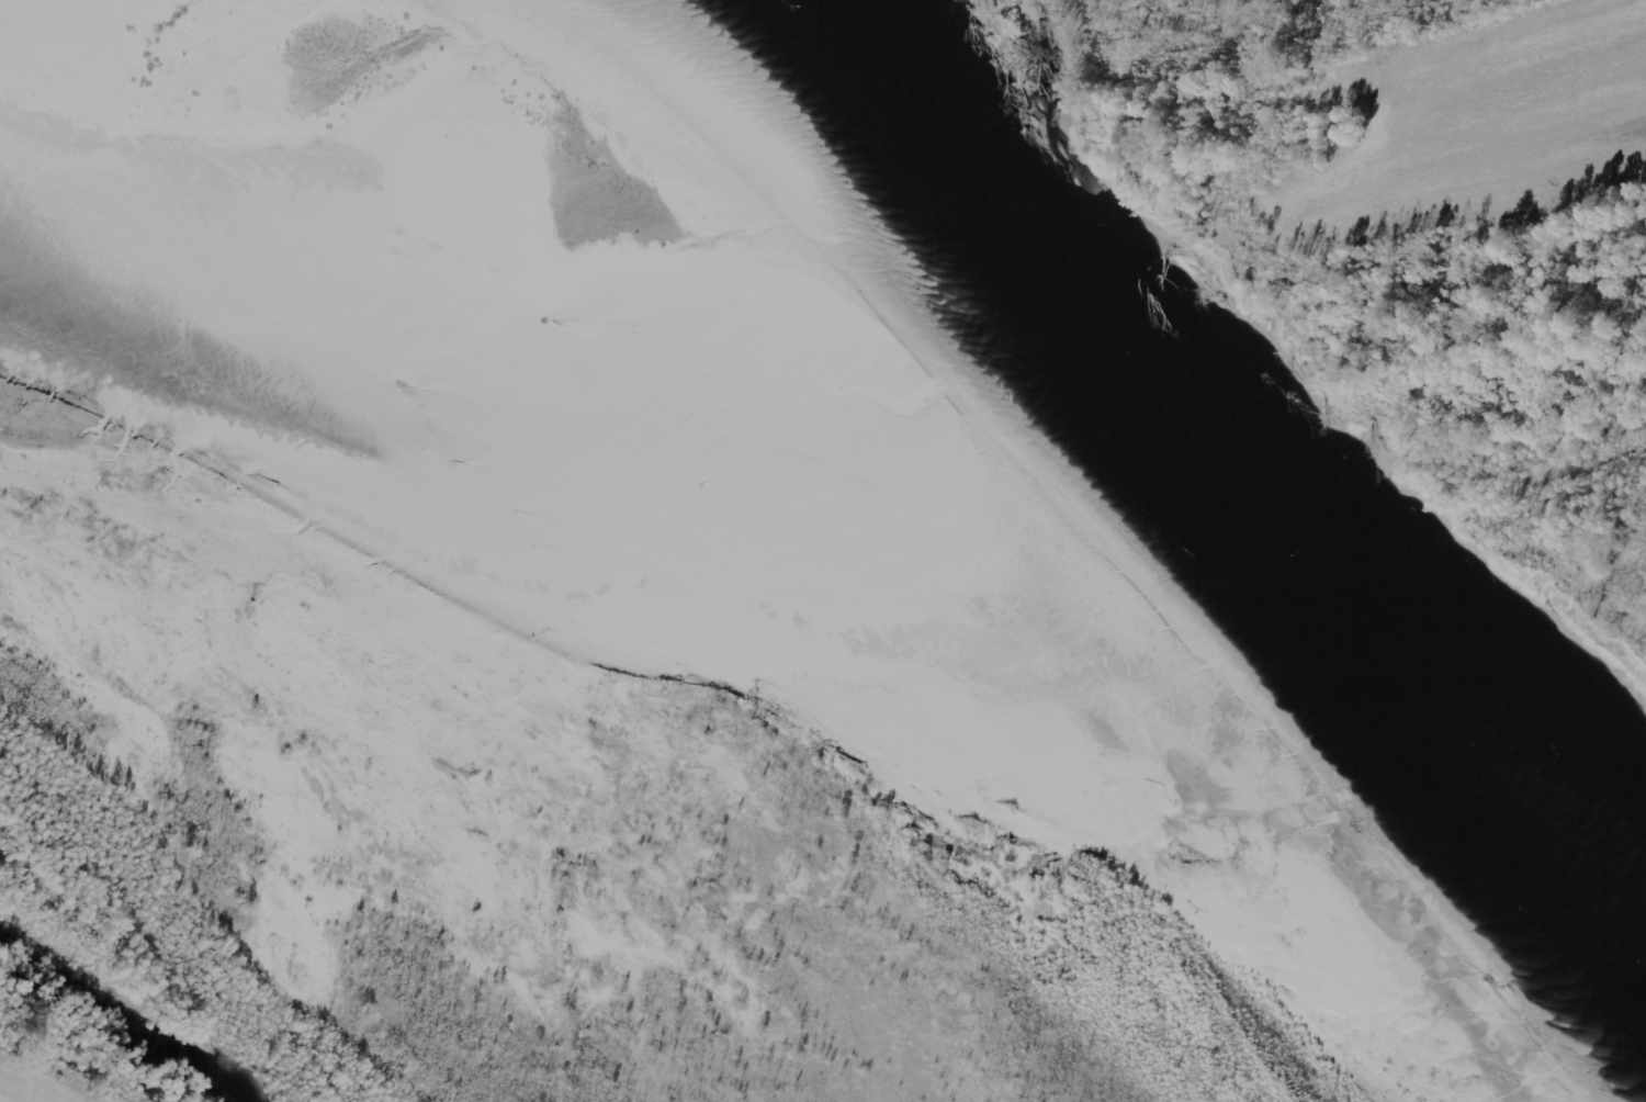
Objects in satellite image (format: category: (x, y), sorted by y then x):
river: (397, 727)

